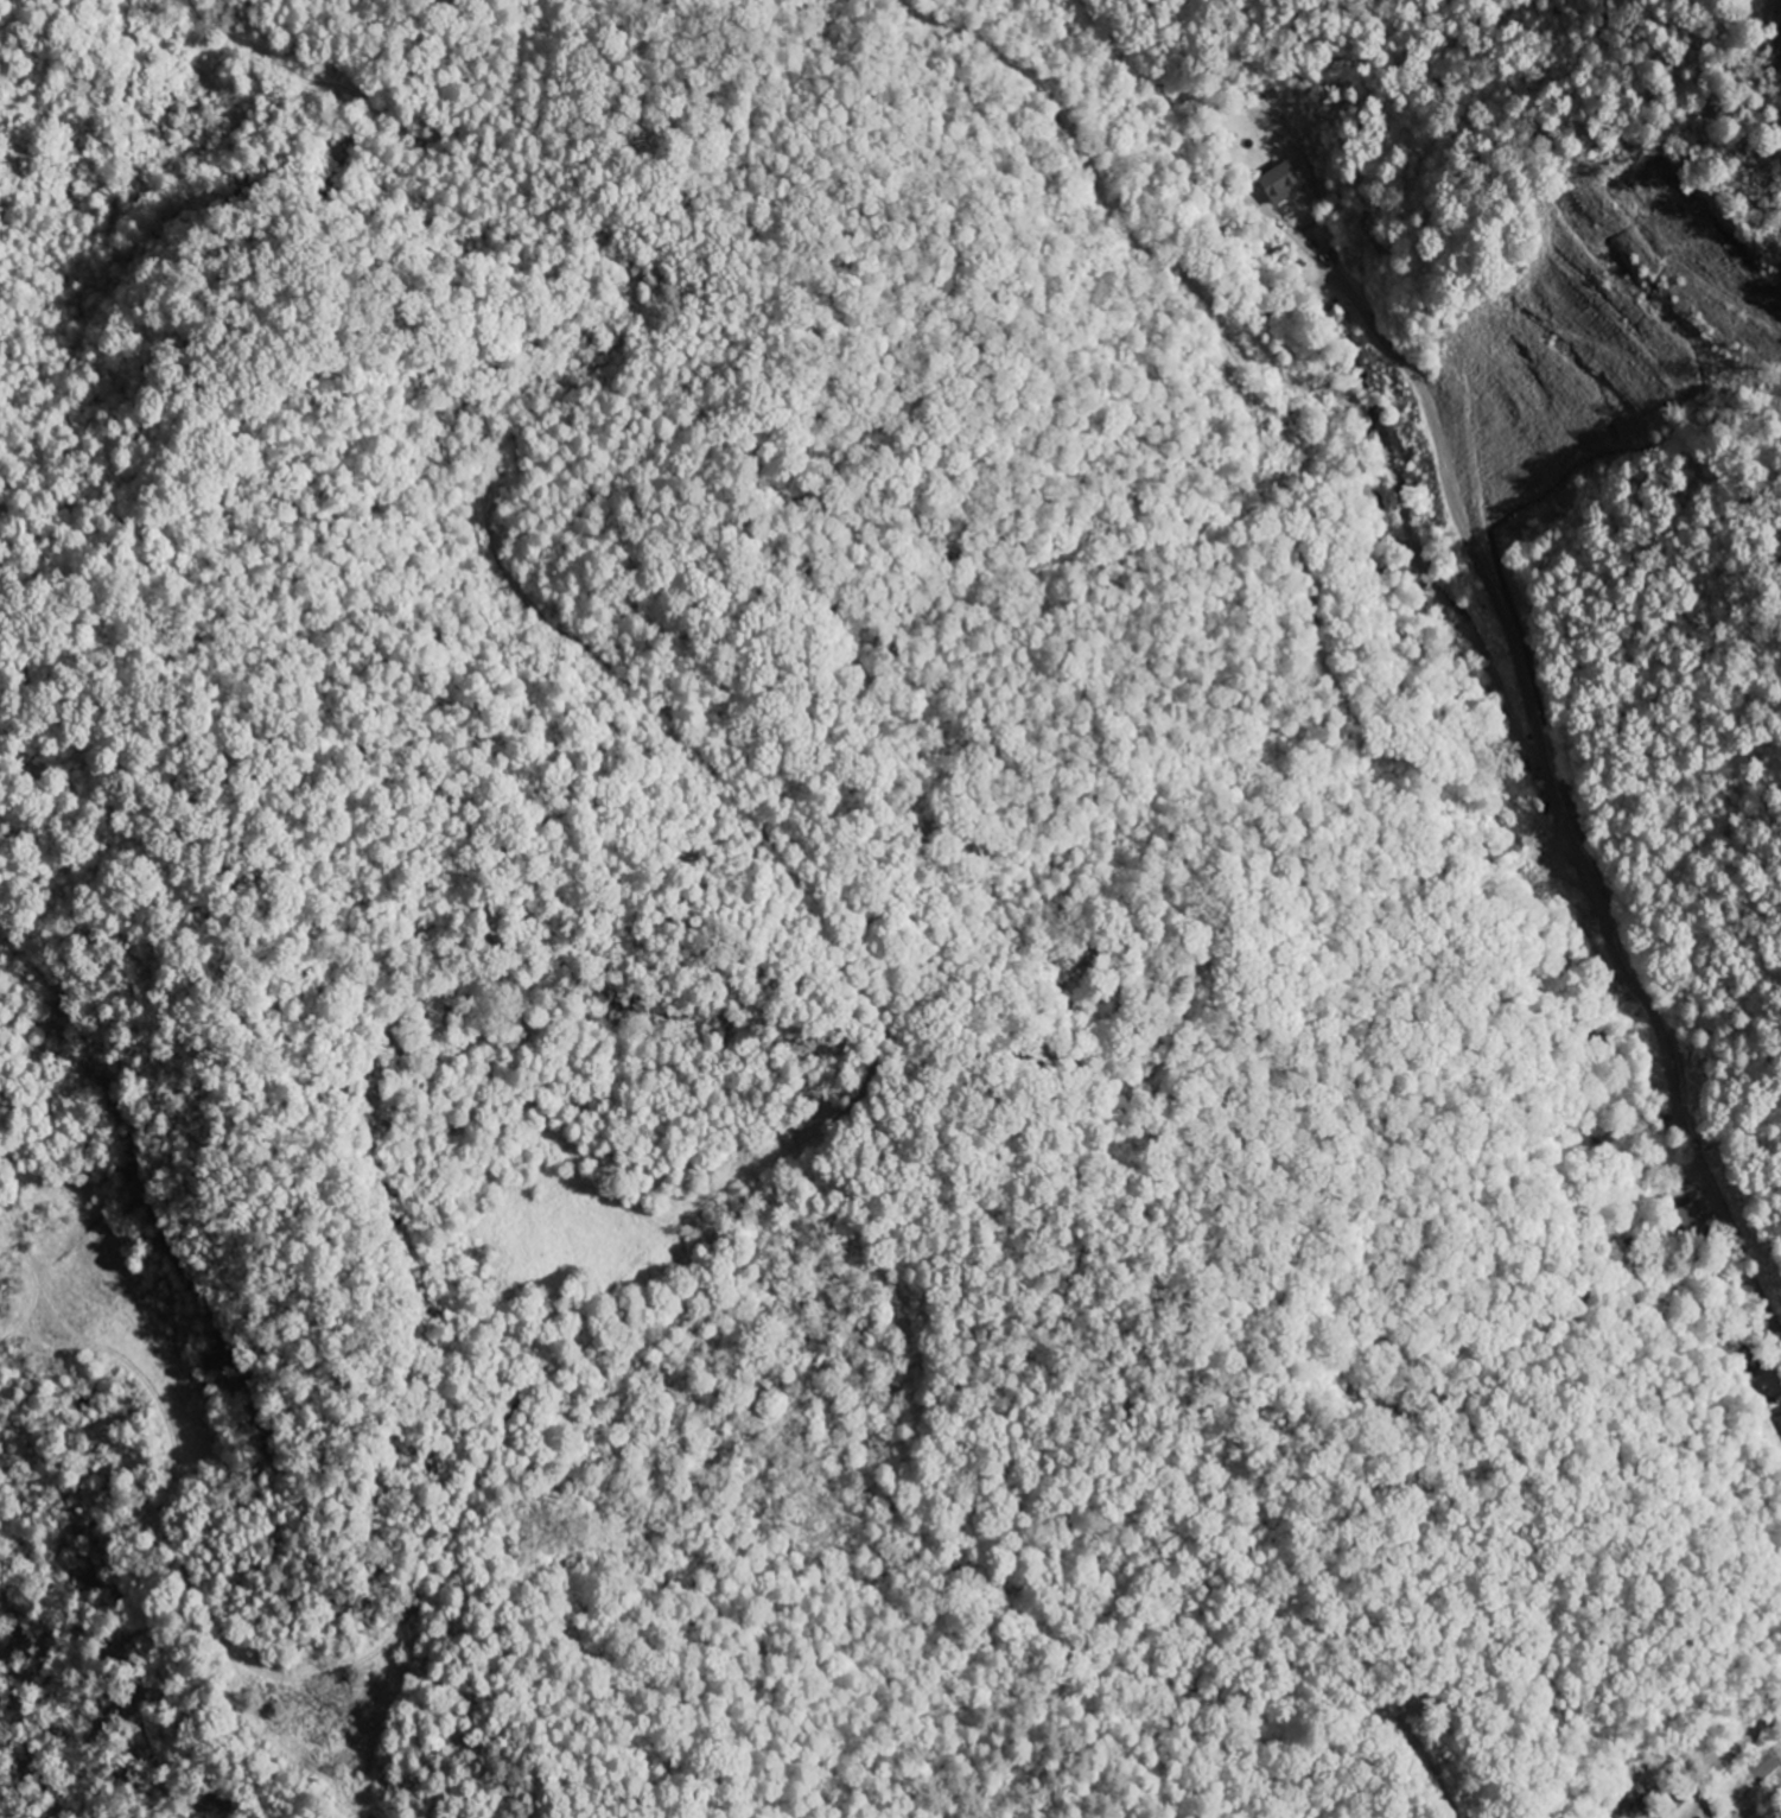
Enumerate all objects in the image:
building: (1285, 183)
road: (1543, 750)
road: (1719, 1765)

